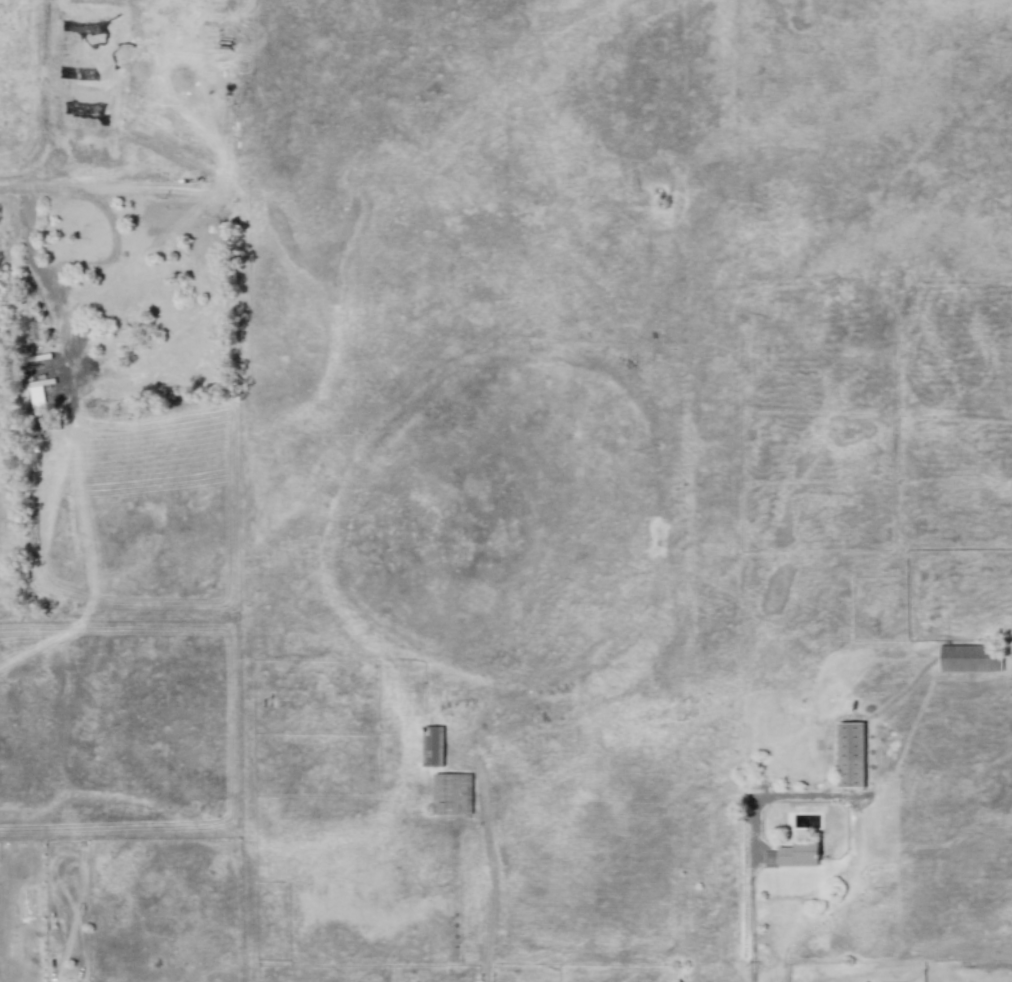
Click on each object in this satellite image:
road: (105, 211)
road: (24, 236)
building: (969, 658)
building: (432, 746)
building: (850, 755)
building: (452, 793)
building: (798, 854)
road: (490, 873)
road: (751, 914)

